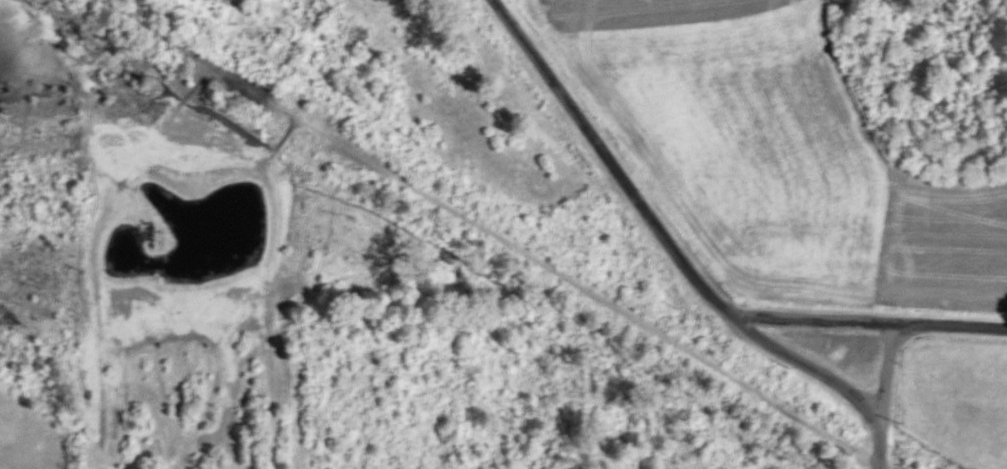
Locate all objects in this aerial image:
road: (656, 228)
road: (871, 309)
road: (881, 357)
road: (875, 436)

